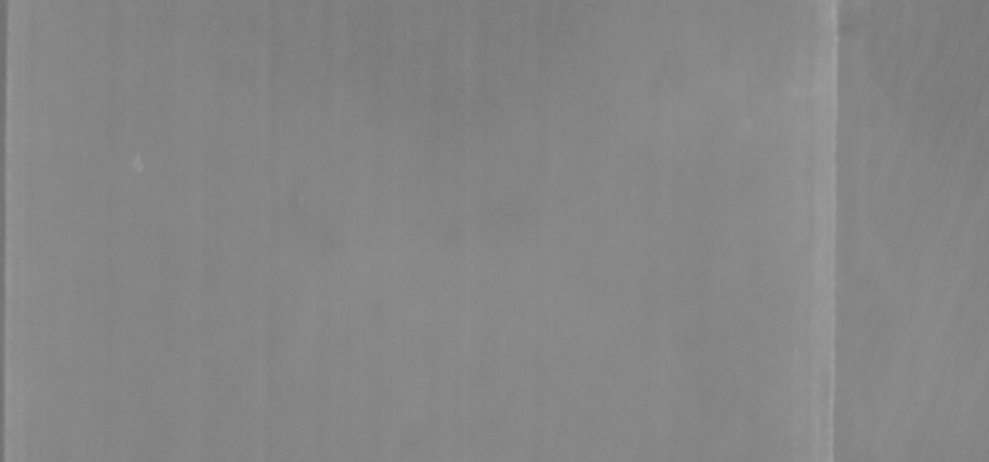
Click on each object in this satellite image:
crop: (494, 231)

